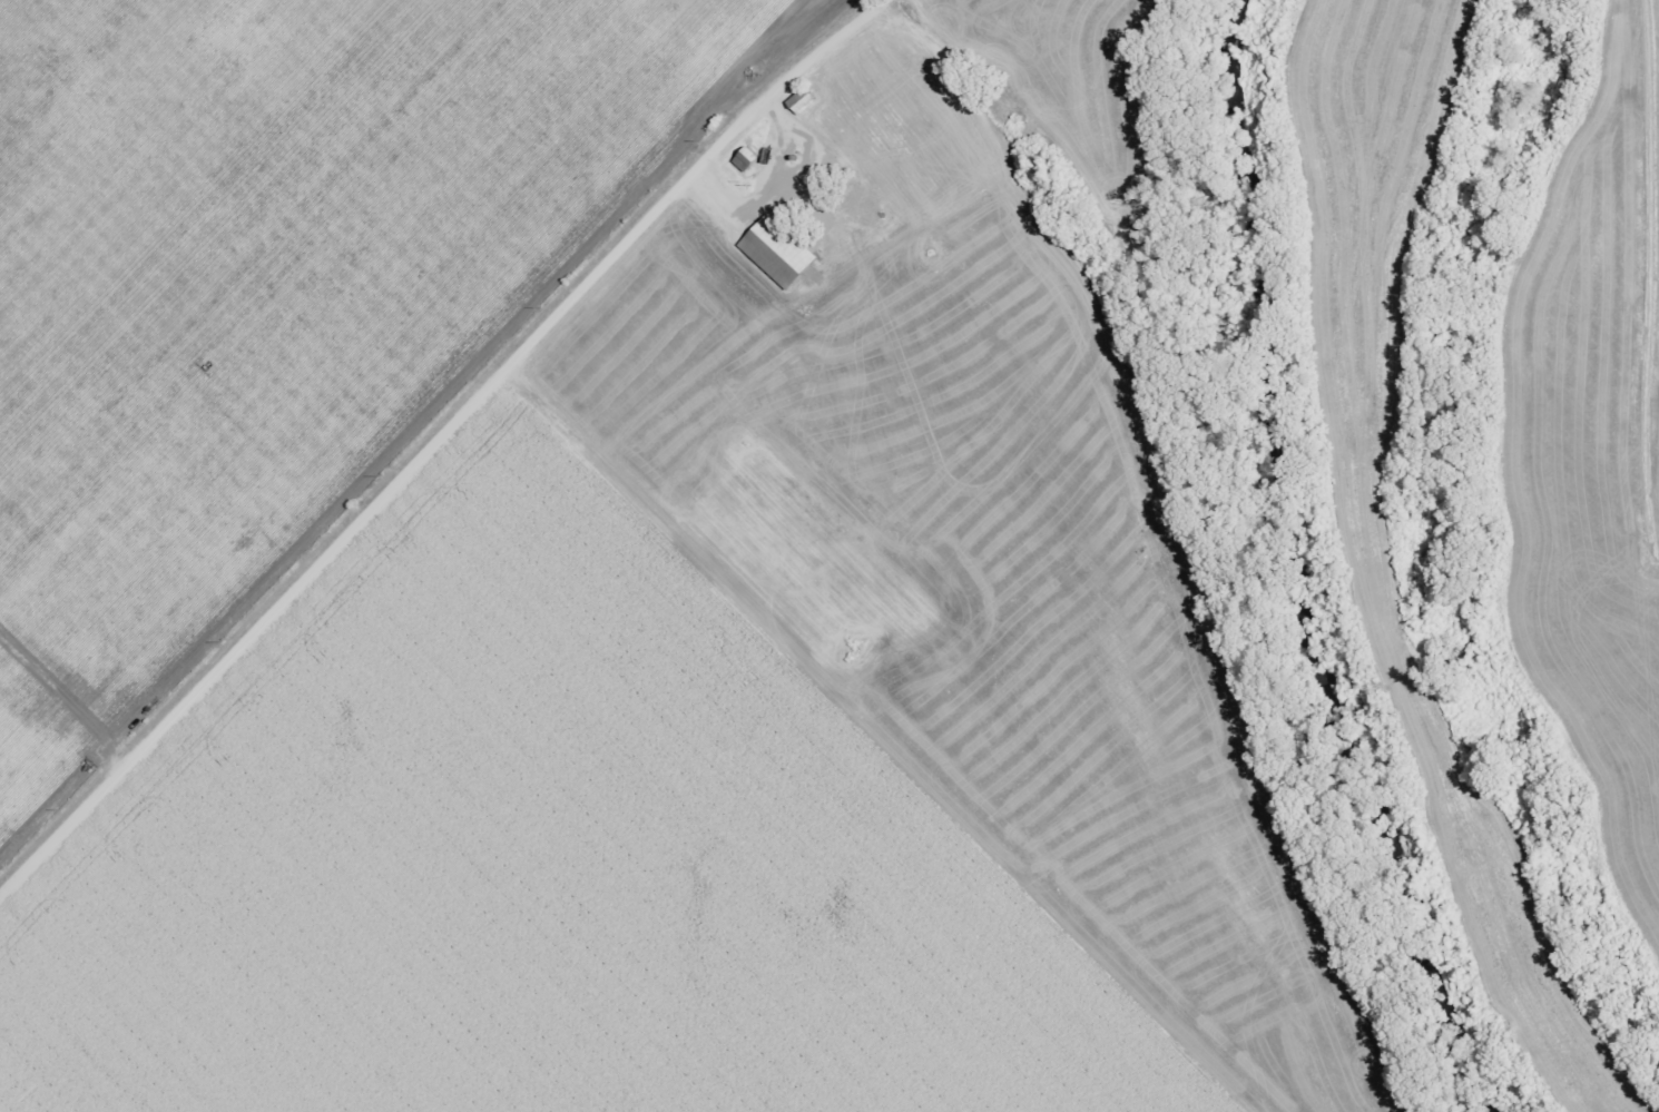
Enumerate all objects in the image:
building: (781, 253)
road: (443, 455)

